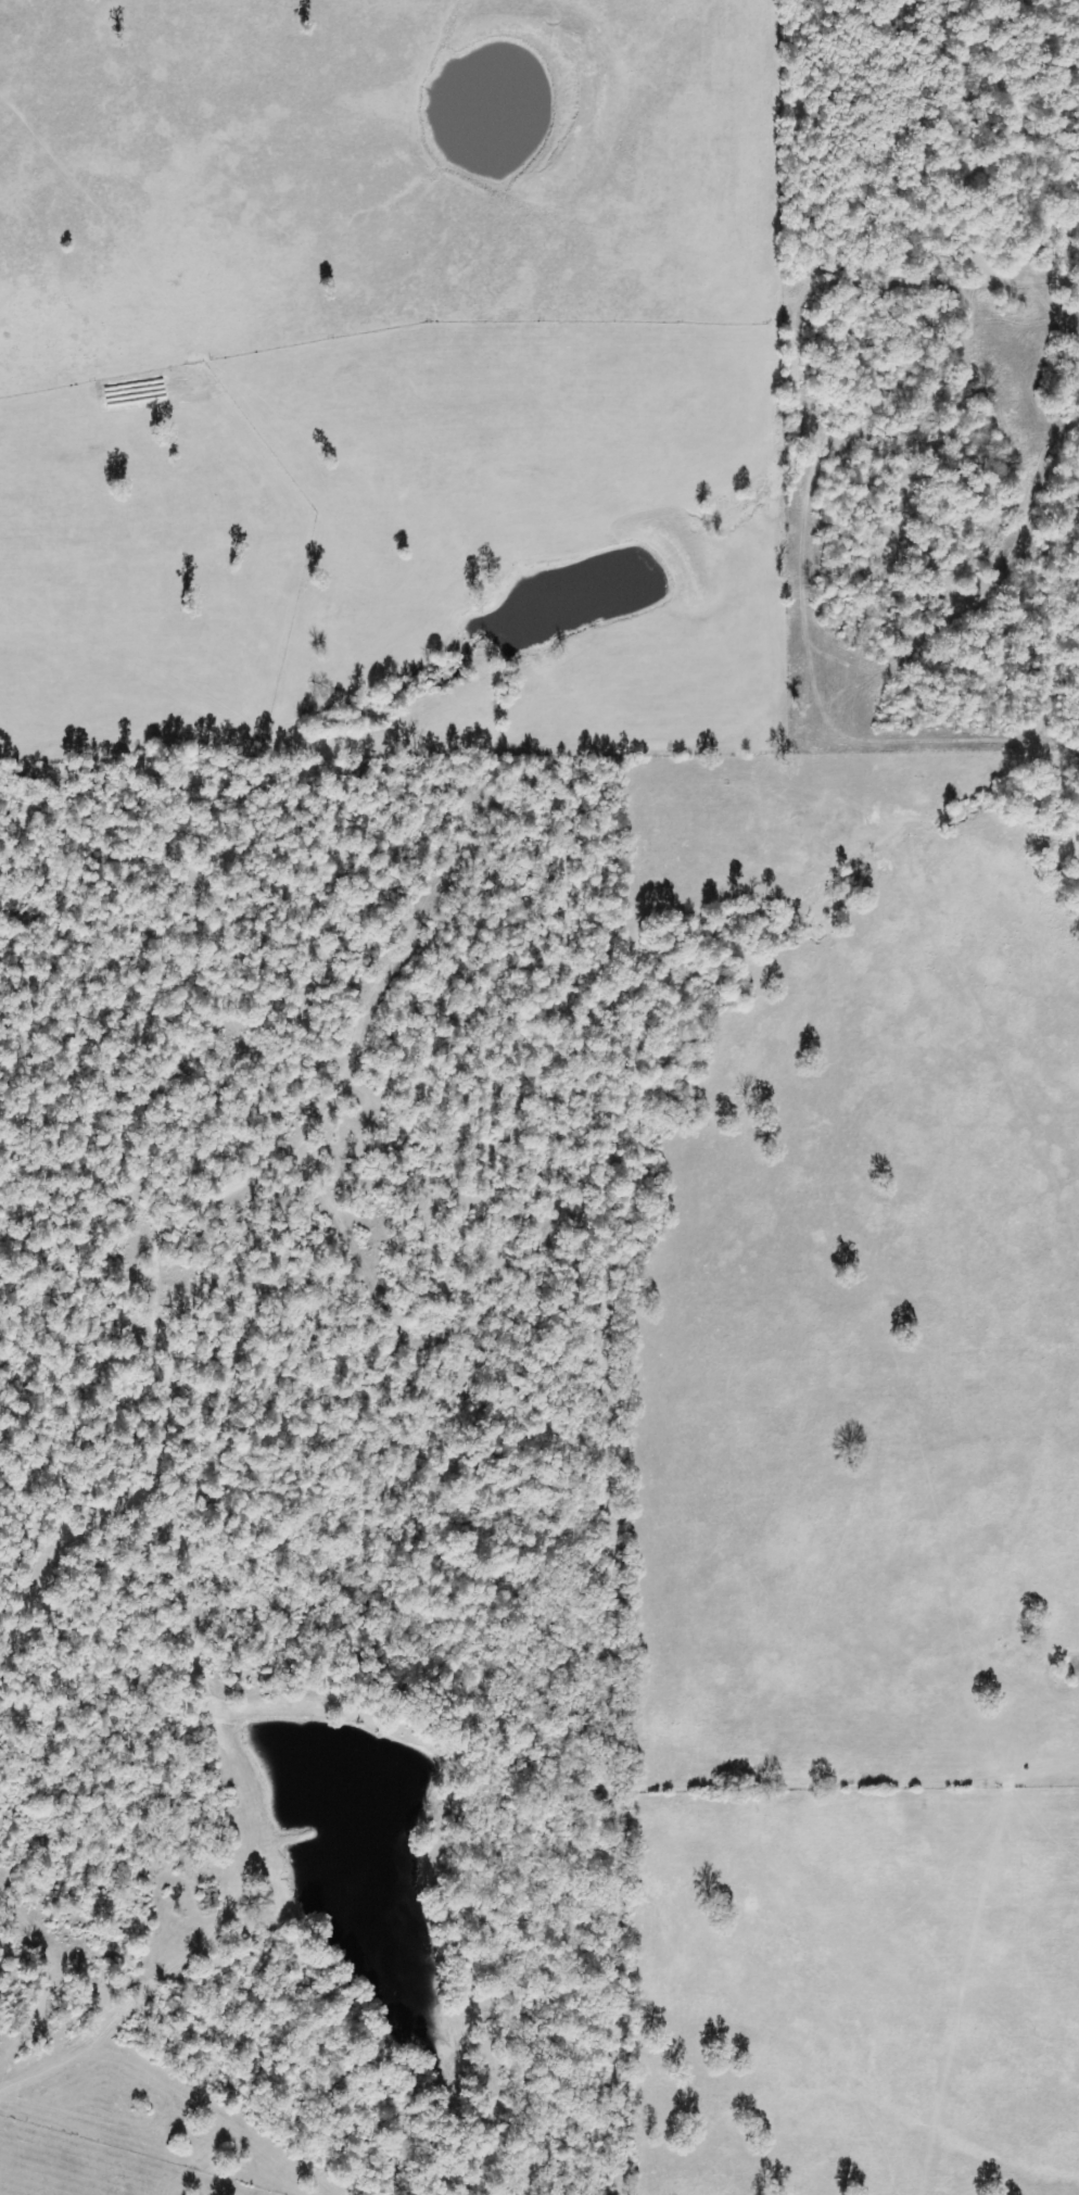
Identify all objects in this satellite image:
road: (29, 2)
building: (208, 1901)

